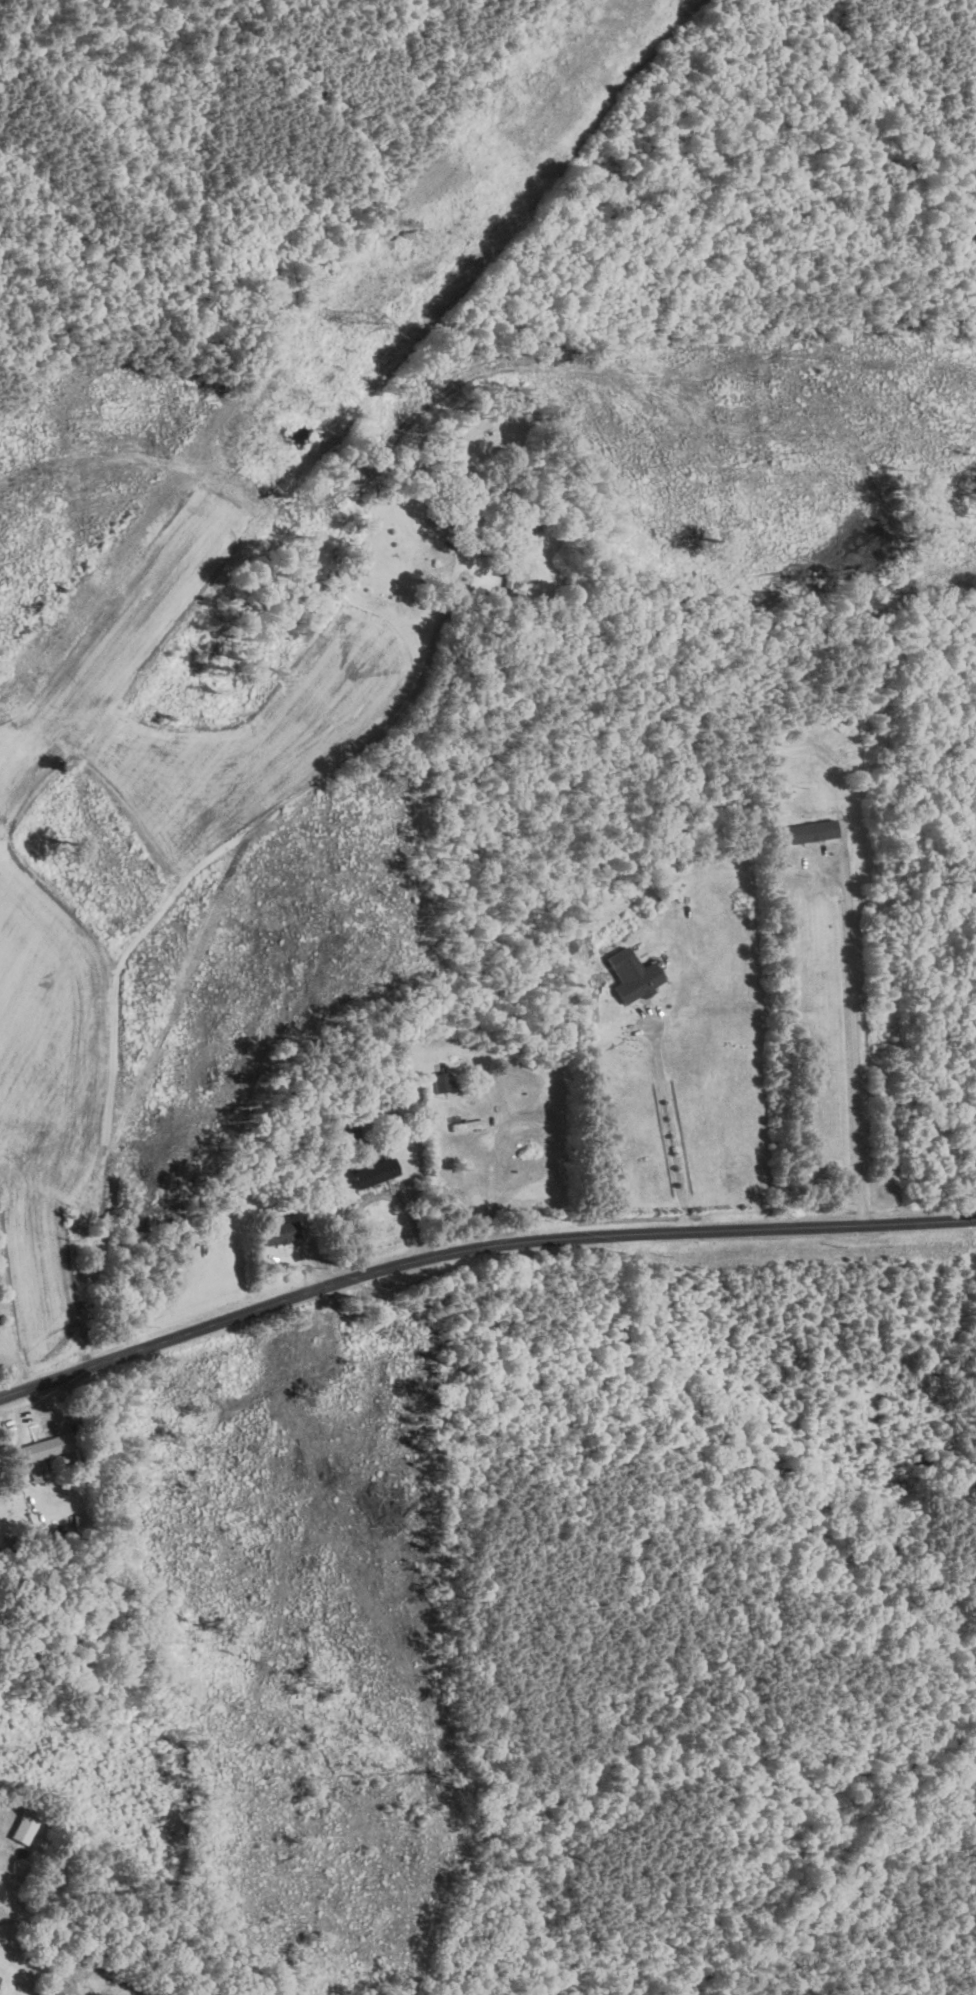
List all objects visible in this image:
power tower: (371, 307)
building: (810, 831)
building: (631, 974)
road: (854, 1036)
building: (440, 1081)
road: (516, 1129)
road: (669, 1129)
building: (374, 1172)
building: (280, 1232)
road: (476, 1248)
building: (47, 1446)
building: (37, 1474)
building: (81, 1523)
building: (25, 1826)

